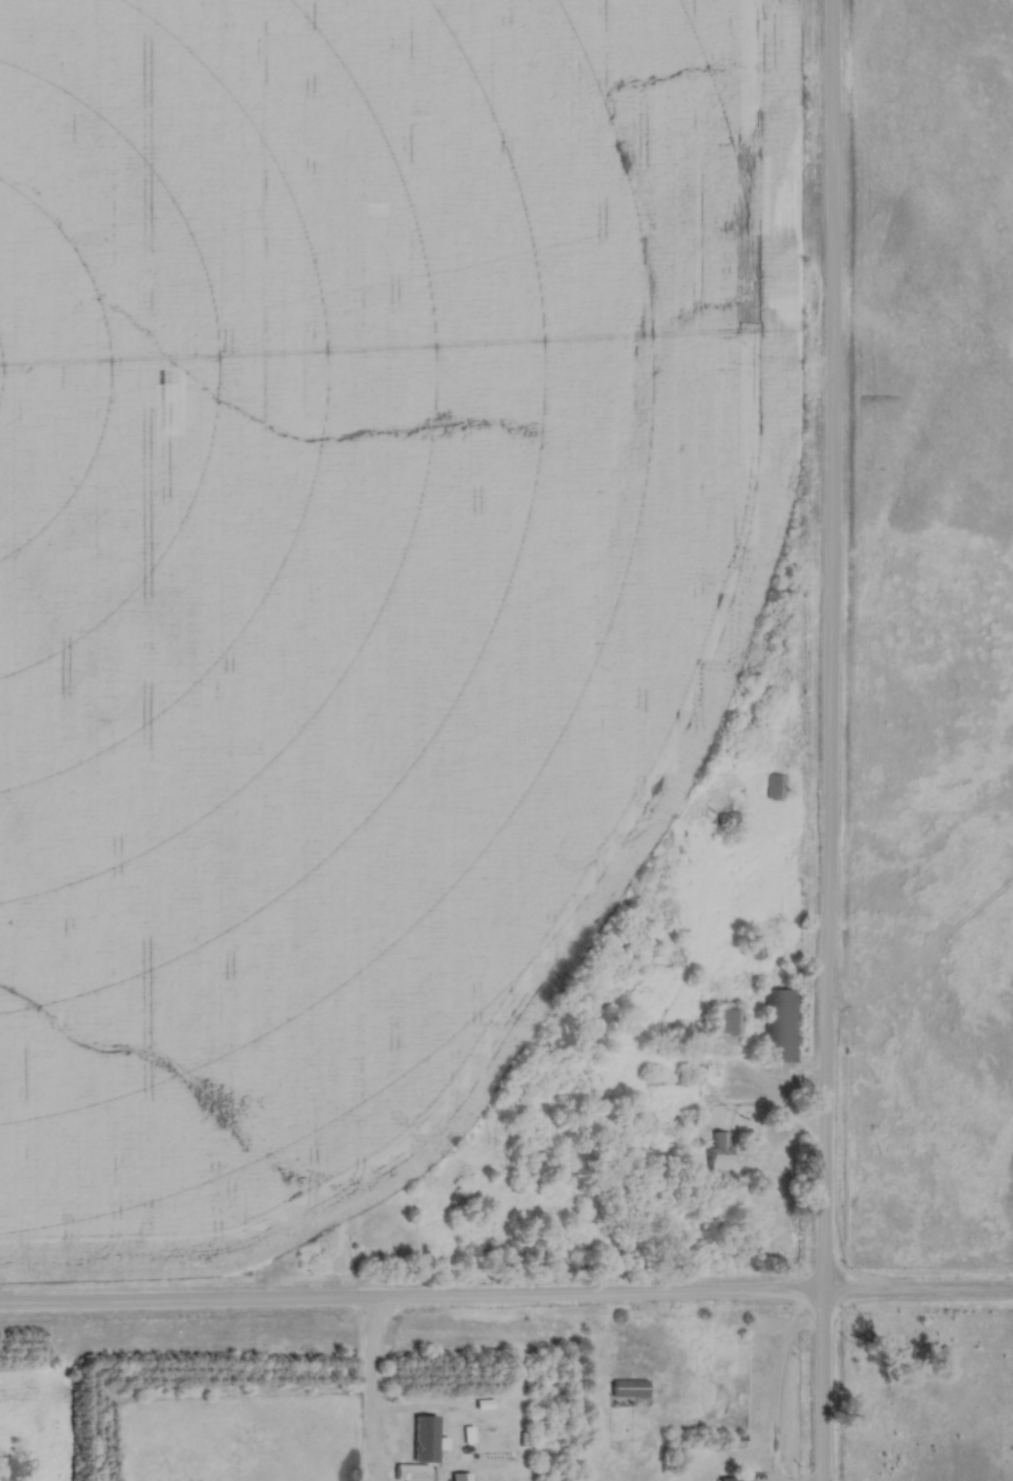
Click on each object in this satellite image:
road: (829, 740)
building: (759, 946)
building: (728, 1022)
building: (784, 1030)
building: (720, 1154)
road: (506, 1302)
building: (630, 1389)
road: (370, 1394)
building: (411, 1471)
building: (460, 1476)
building: (729, 1480)

